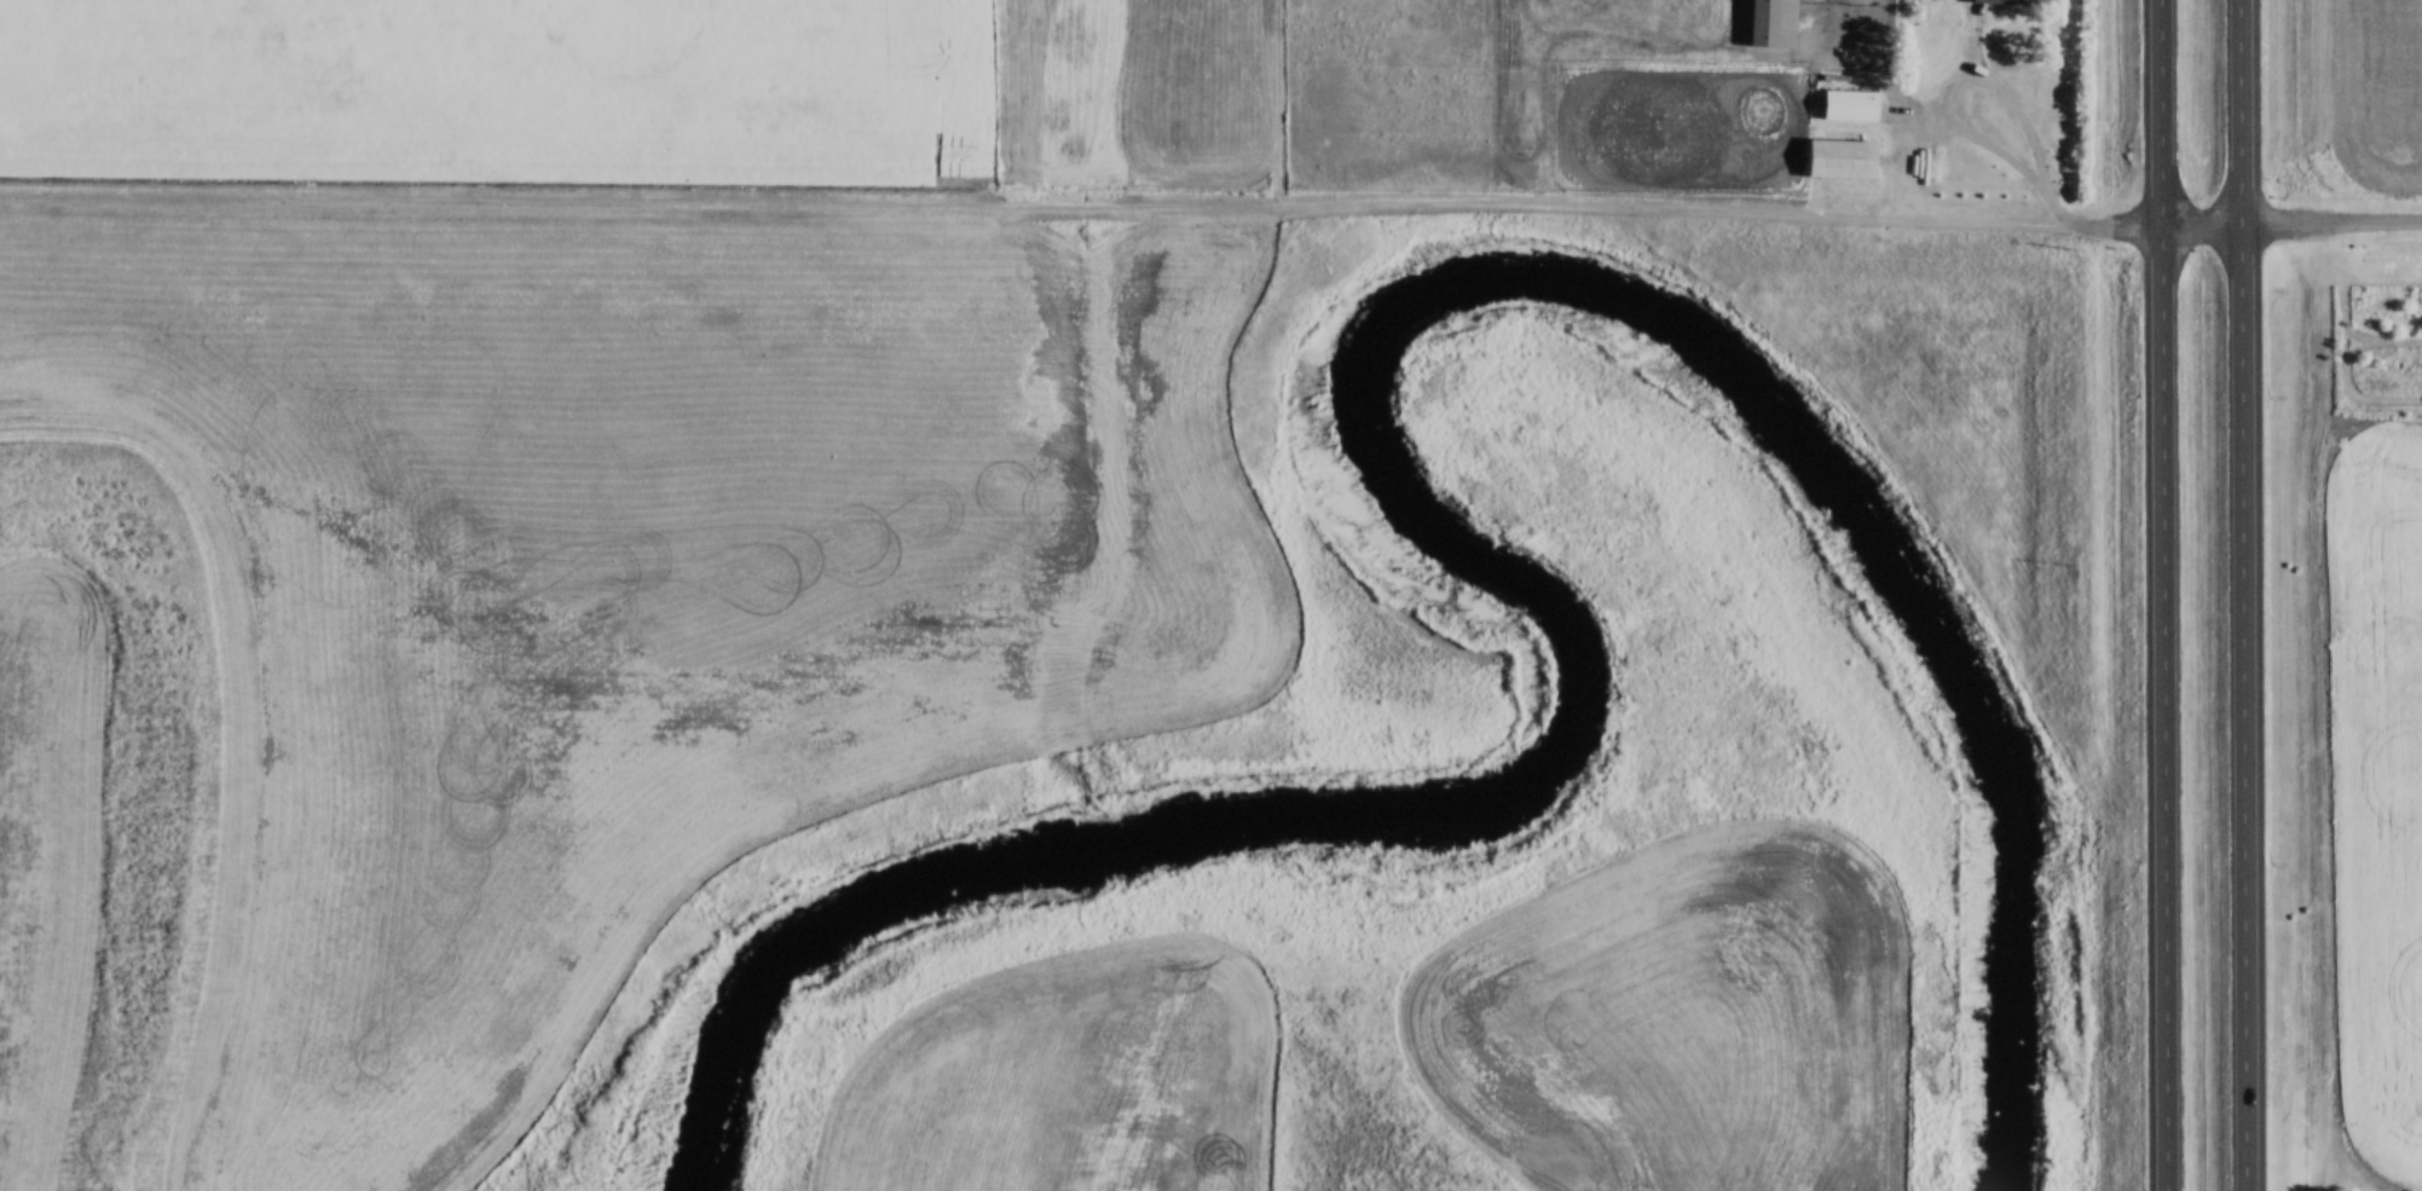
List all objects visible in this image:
building: (1995, 1)
building: (1769, 23)
building: (1846, 99)
road: (2145, 100)
road: (2231, 102)
building: (1838, 157)
building: (1988, 193)
road: (1210, 195)
road: (2149, 696)
road: (2237, 698)

